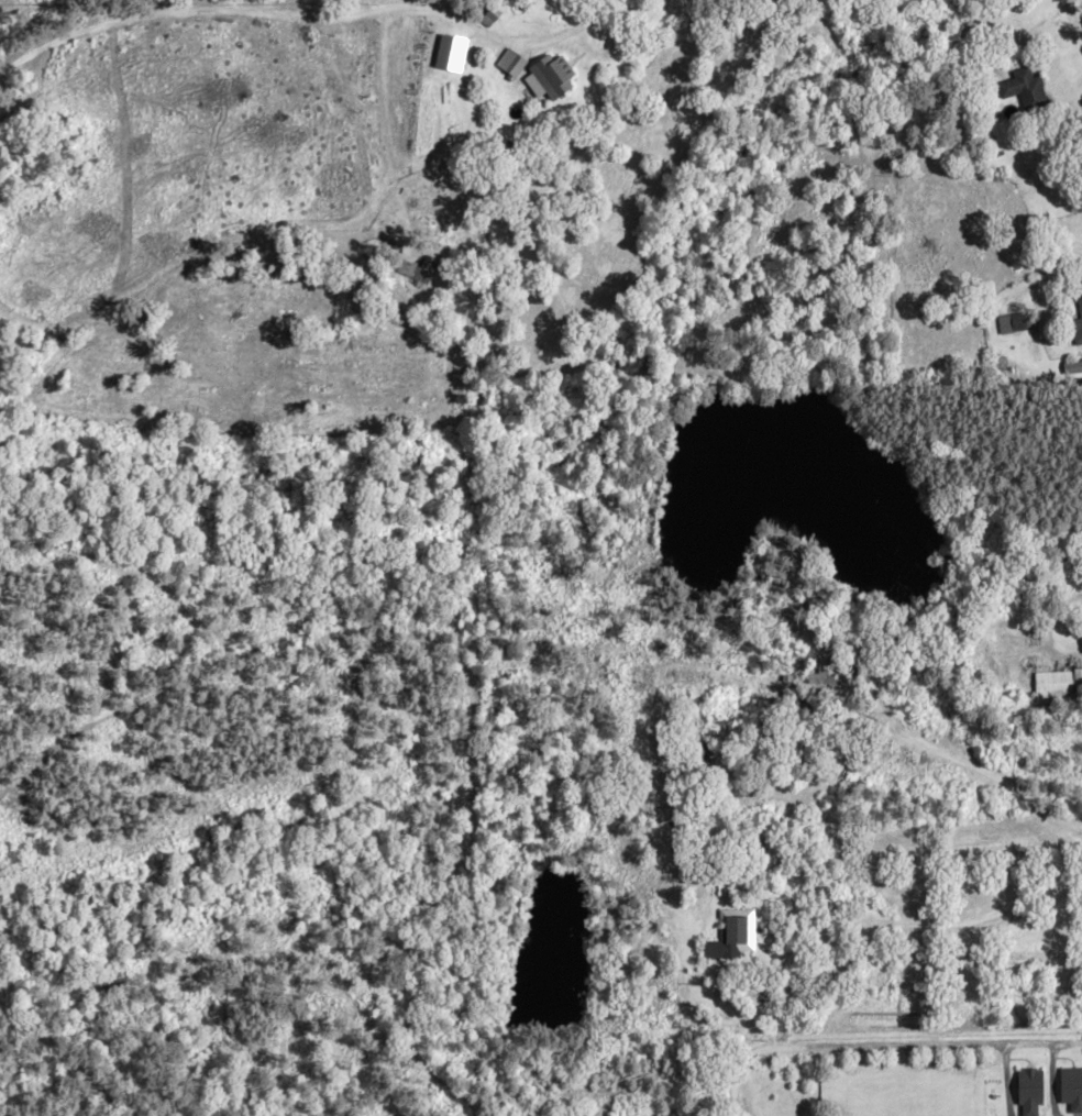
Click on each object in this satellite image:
road: (1075, 14)
road: (488, 34)
road: (1033, 34)
building: (556, 77)
building: (1027, 90)
building: (405, 268)
building: (1012, 322)
building: (1077, 323)
building: (1072, 366)
building: (1056, 684)
building: (689, 753)
building: (730, 935)
road: (880, 1041)
building: (1071, 1089)
building: (1031, 1093)

